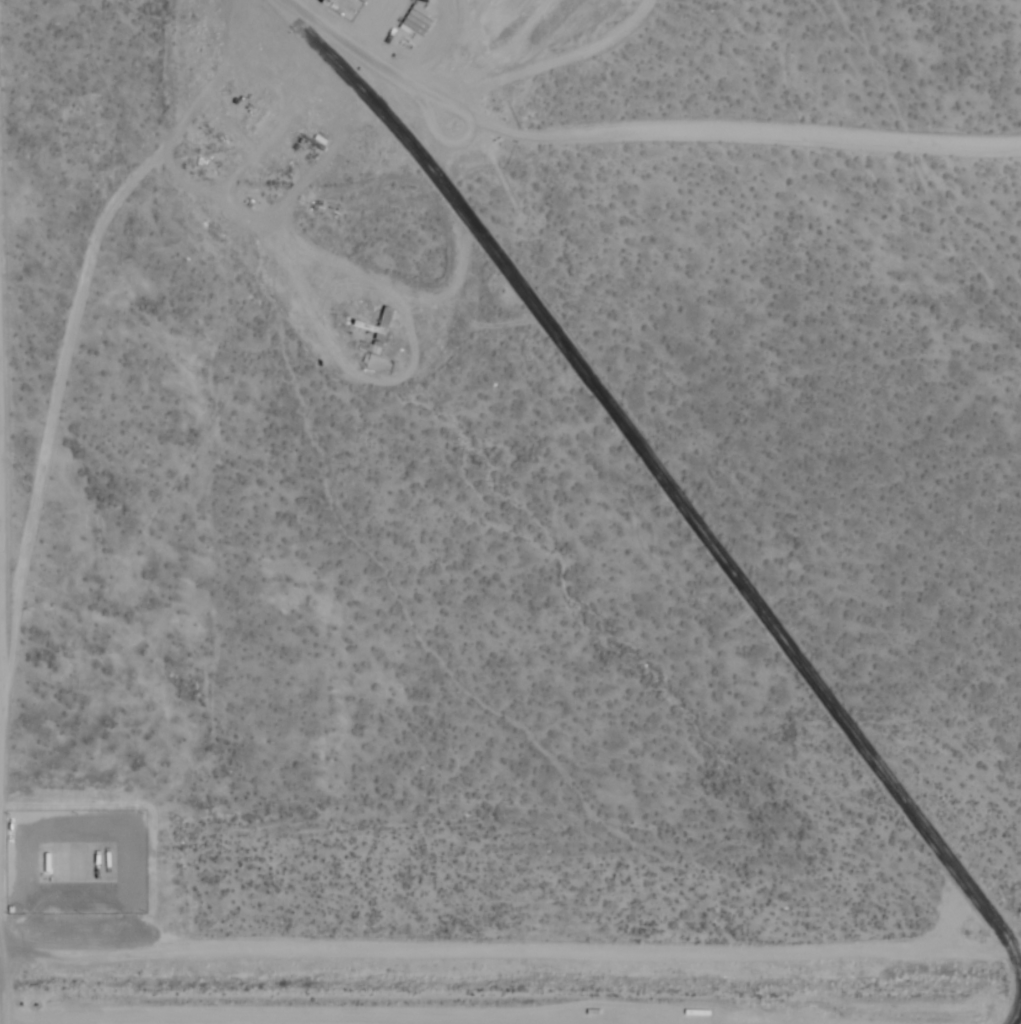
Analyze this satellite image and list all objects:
building: (258, 121)
road: (659, 129)
building: (380, 345)
road: (677, 497)
airport: (510, 512)
road: (0, 566)
road: (1, 920)
road: (498, 944)
road: (505, 1019)

